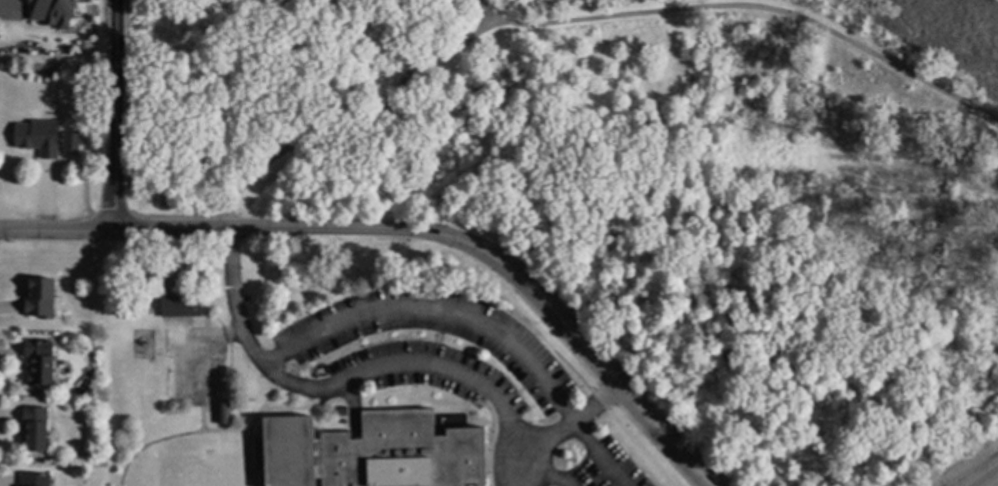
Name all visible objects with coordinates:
road: (745, 7)
building: (50, 12)
road: (119, 114)
road: (353, 120)
building: (37, 138)
building: (69, 143)
park: (644, 191)
road: (202, 227)
road: (432, 268)
building: (38, 299)
building: (179, 306)
road: (434, 308)
road: (568, 336)
building: (37, 362)
road: (282, 367)
road: (383, 368)
road: (598, 398)
building: (223, 412)
building: (340, 412)
building: (34, 430)
road: (248, 433)
road: (172, 436)
road: (491, 441)
road: (639, 447)
building: (369, 452)
road: (604, 452)
road: (540, 464)
road: (981, 473)
road: (554, 474)
building: (33, 479)

